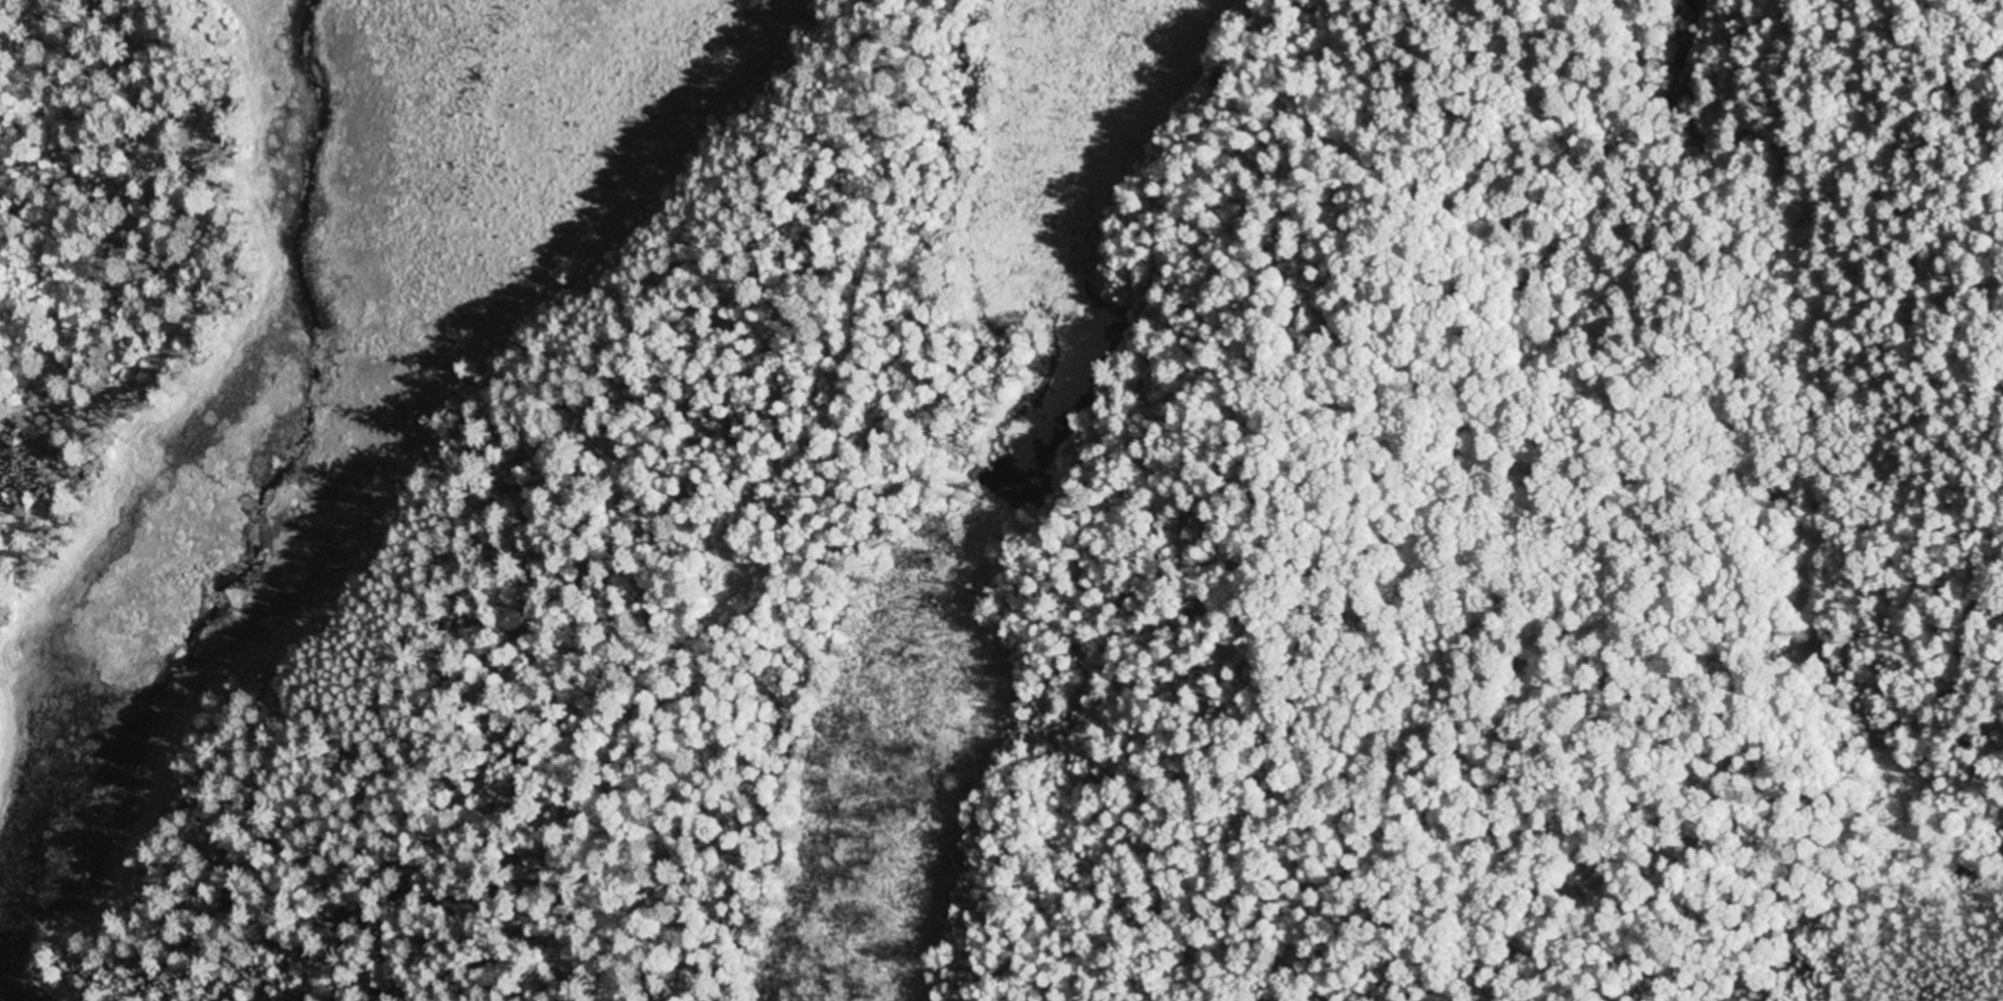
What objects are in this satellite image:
road: (1727, 324)

